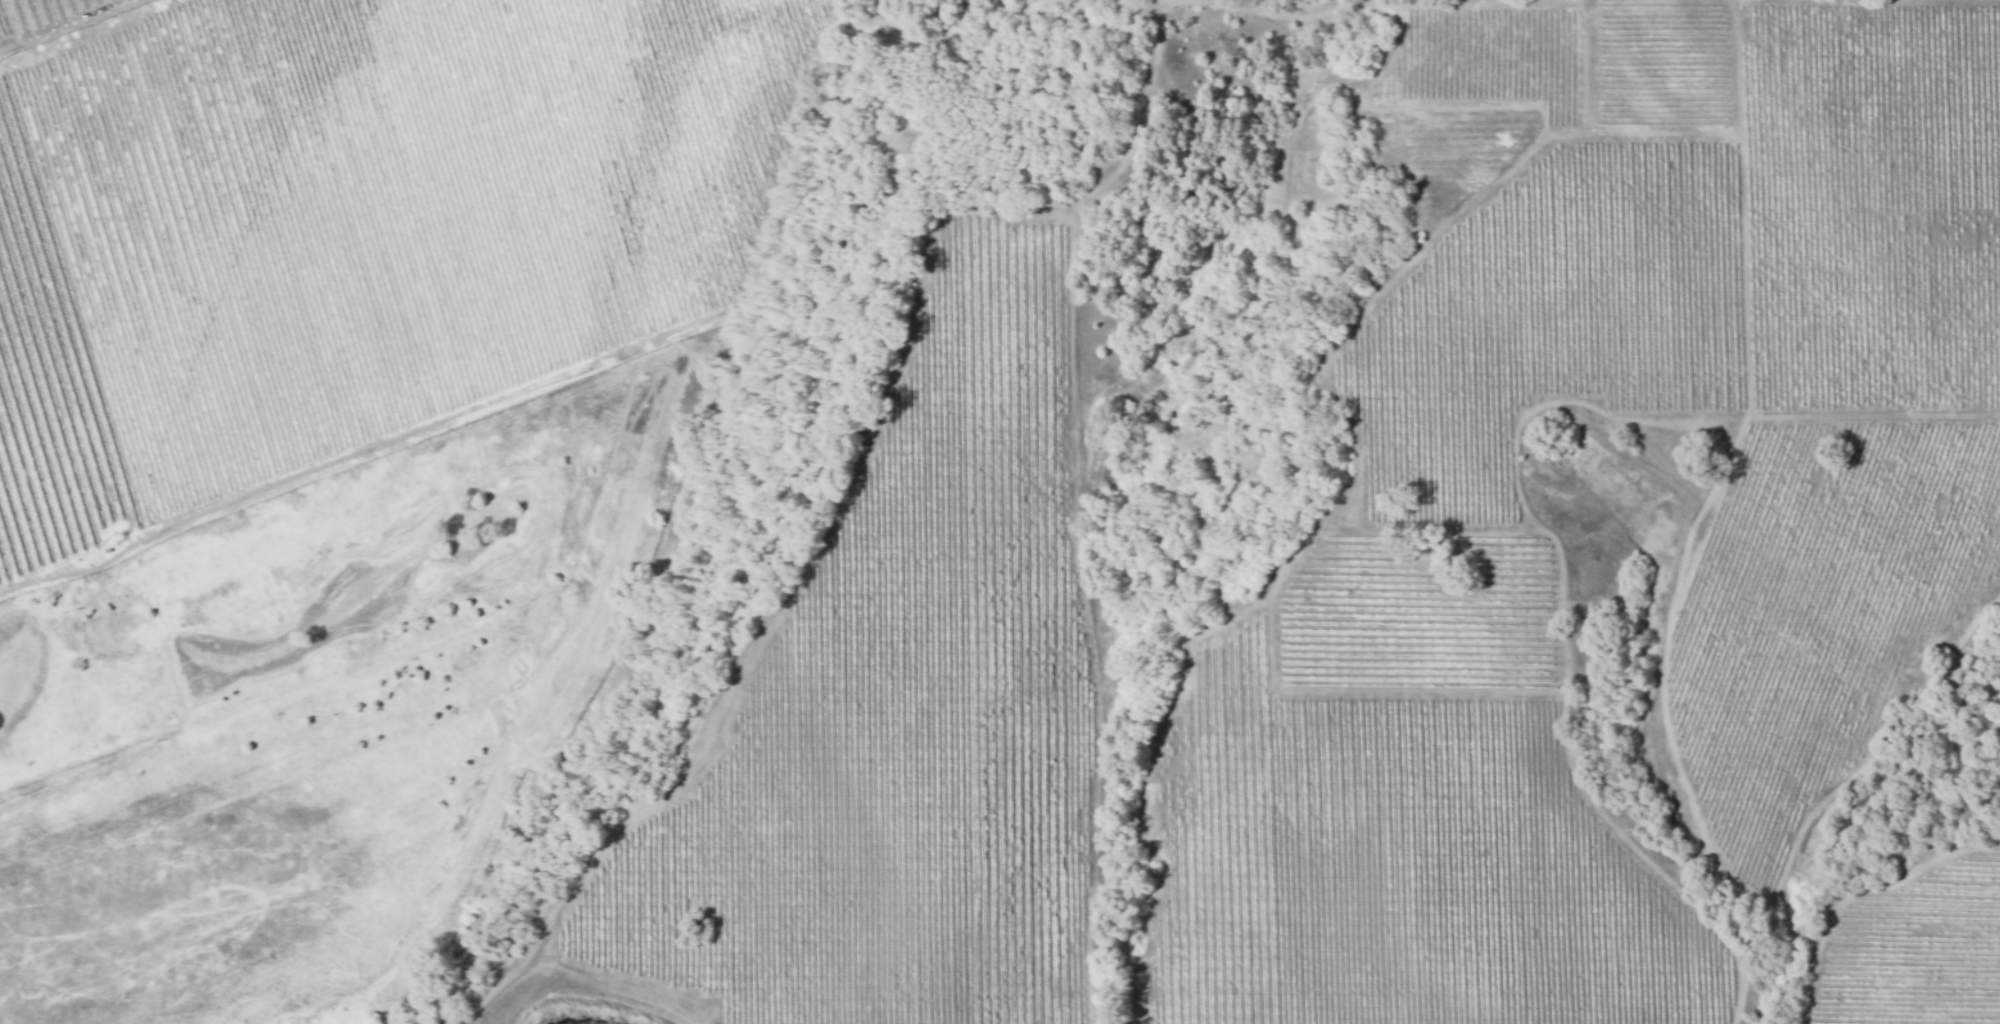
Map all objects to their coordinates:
road: (1819, 812)

